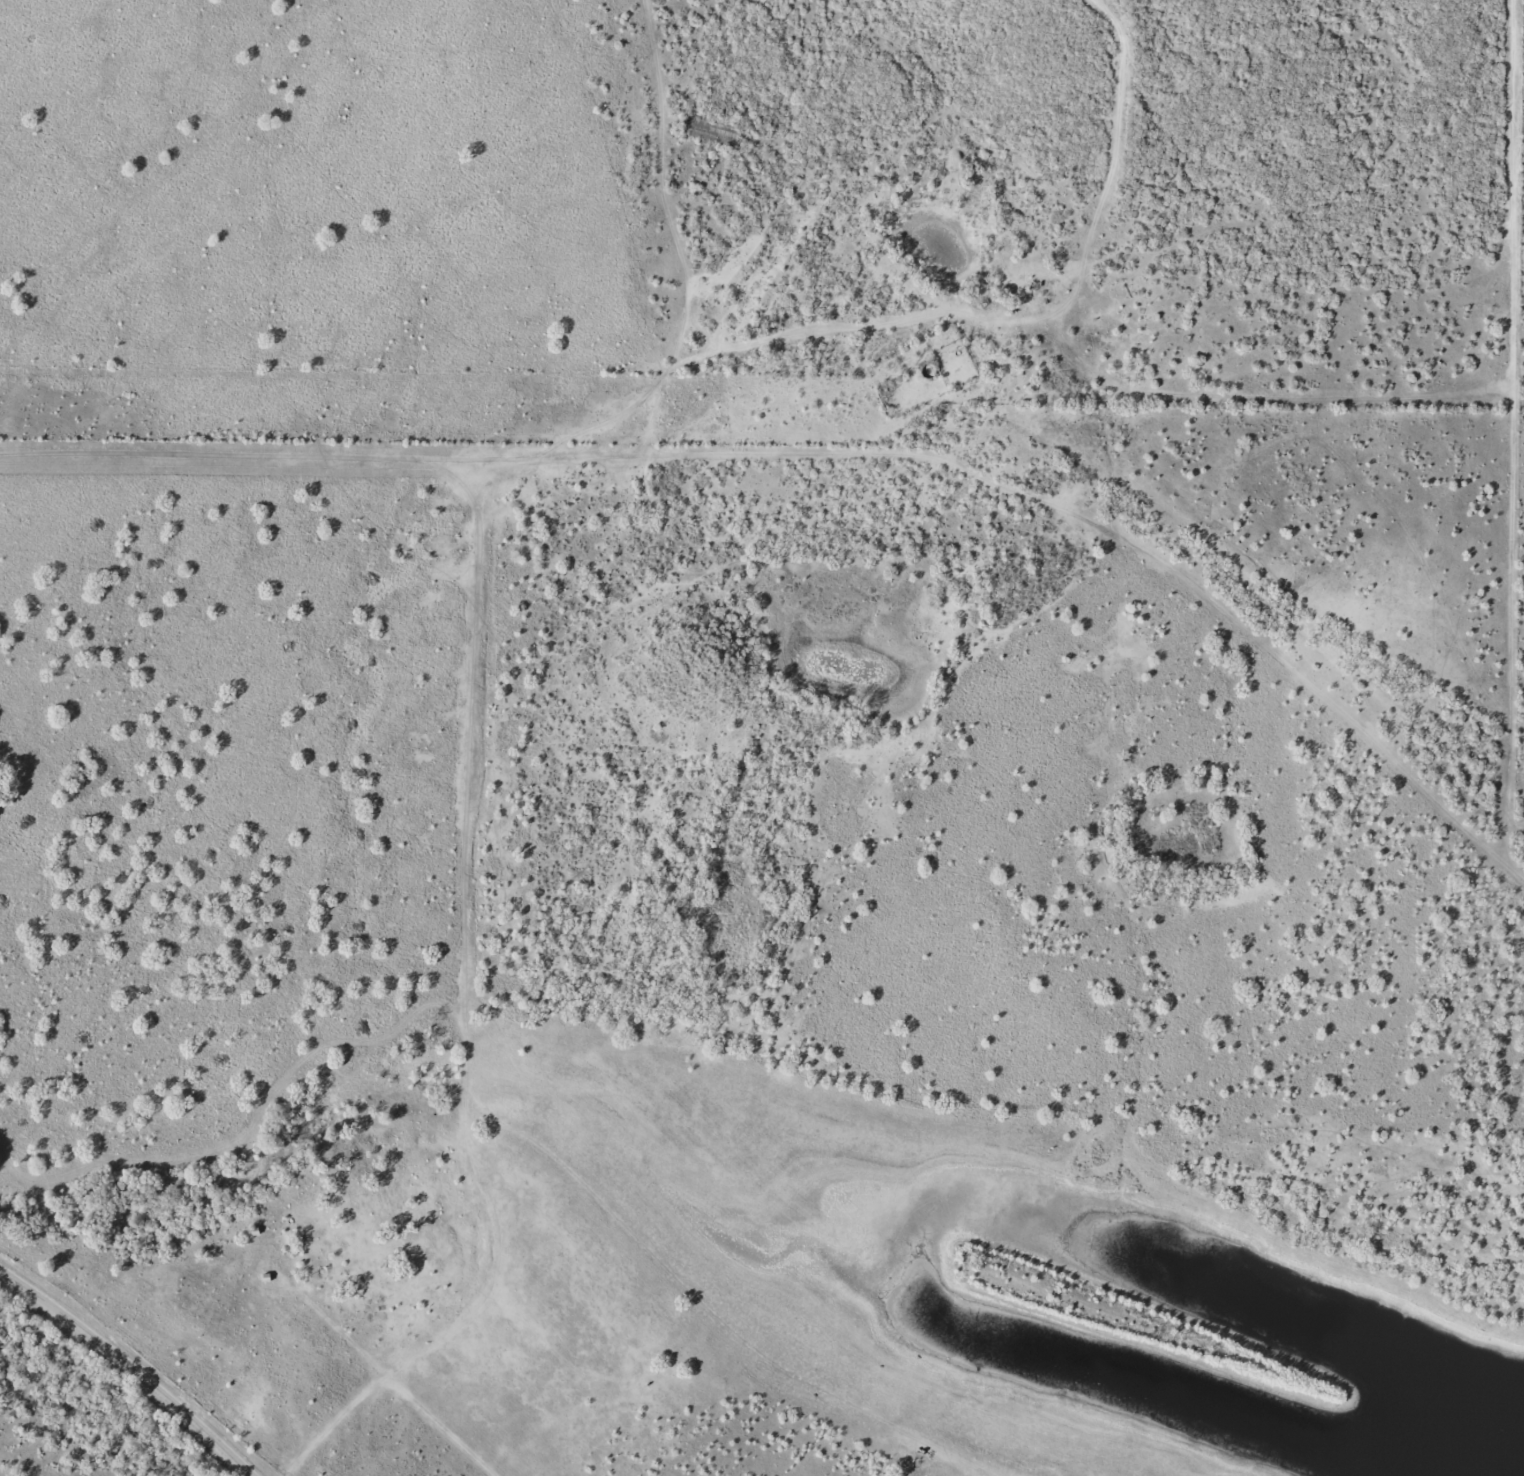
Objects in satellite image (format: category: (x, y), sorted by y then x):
road: (130, 1367)

